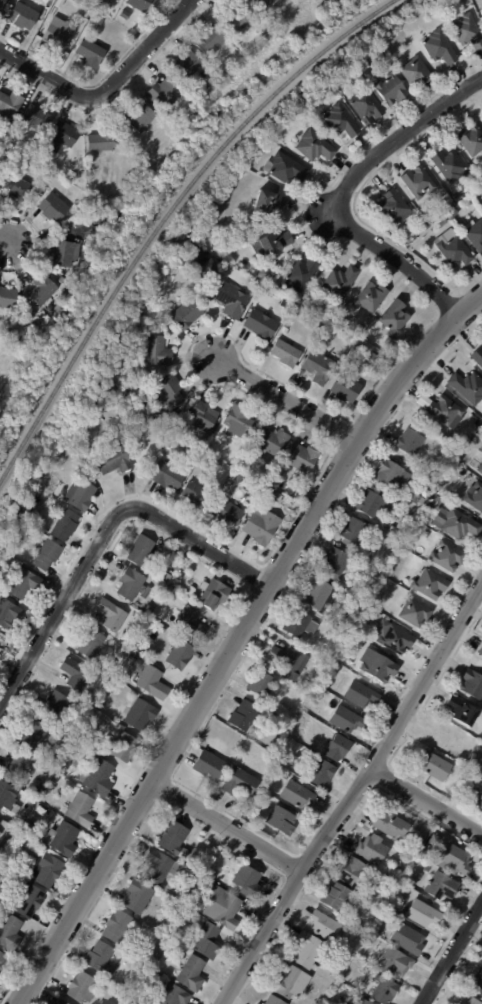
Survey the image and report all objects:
building: (93, 2)
building: (260, 3)
building: (2, 4)
building: (142, 5)
building: (124, 15)
building: (481, 15)
building: (23, 17)
building: (237, 19)
building: (97, 22)
building: (468, 32)
building: (59, 33)
building: (77, 34)
building: (210, 41)
building: (439, 48)
building: (90, 53)
building: (188, 64)
building: (416, 73)
road: (105, 87)
building: (329, 90)
building: (391, 90)
building: (164, 94)
building: (10, 104)
building: (366, 106)
building: (481, 113)
building: (140, 118)
building: (36, 119)
building: (341, 122)
building: (60, 136)
road: (395, 139)
building: (101, 141)
building: (471, 141)
building: (314, 147)
building: (3, 153)
building: (450, 166)
building: (285, 169)
building: (72, 177)
building: (37, 182)
building: (43, 182)
building: (419, 183)
building: (16, 185)
building: (457, 198)
building: (269, 203)
building: (393, 207)
building: (52, 209)
railway: (167, 215)
building: (424, 226)
building: (474, 235)
road: (6, 241)
building: (198, 243)
building: (271, 244)
building: (454, 250)
building: (65, 254)
road: (396, 258)
building: (210, 267)
building: (215, 268)
building: (264, 274)
building: (302, 275)
building: (340, 283)
building: (44, 291)
building: (8, 297)
building: (371, 298)
building: (232, 301)
building: (187, 315)
building: (394, 318)
building: (261, 326)
building: (157, 352)
building: (286, 355)
building: (478, 356)
building: (371, 357)
building: (319, 368)
building: (467, 387)
building: (346, 390)
building: (169, 393)
building: (120, 397)
road: (284, 399)
building: (445, 410)
building: (203, 417)
building: (172, 419)
building: (239, 422)
road: (330, 437)
building: (272, 441)
building: (410, 442)
building: (204, 444)
building: (231, 448)
building: (114, 458)
building: (302, 459)
building: (480, 469)
building: (167, 475)
building: (393, 475)
building: (240, 478)
building: (268, 490)
building: (195, 493)
building: (79, 495)
building: (474, 496)
building: (416, 499)
building: (437, 501)
building: (373, 502)
building: (269, 503)
building: (26, 511)
building: (227, 513)
building: (388, 522)
building: (455, 524)
building: (65, 525)
building: (261, 526)
building: (392, 529)
building: (354, 531)
road: (102, 534)
building: (427, 535)
building: (143, 551)
building: (1, 555)
building: (47, 555)
building: (448, 556)
building: (336, 562)
building: (374, 573)
building: (179, 577)
building: (166, 578)
building: (23, 583)
building: (131, 583)
building: (430, 584)
building: (190, 591)
building: (317, 593)
building: (213, 594)
building: (141, 599)
building: (353, 602)
building: (415, 612)
building: (8, 613)
building: (111, 614)
building: (190, 622)
building: (300, 624)
building: (357, 624)
building: (162, 630)
building: (394, 637)
road: (236, 639)
building: (2, 641)
building: (91, 643)
building: (480, 651)
building: (179, 654)
building: (133, 656)
building: (289, 659)
building: (378, 666)
building: (111, 667)
building: (481, 669)
building: (76, 674)
building: (153, 683)
building: (261, 684)
building: (472, 684)
building: (309, 688)
building: (361, 695)
building: (58, 706)
building: (463, 712)
building: (140, 715)
building: (243, 716)
building: (347, 720)
building: (35, 737)
building: (124, 747)
building: (338, 748)
building: (209, 765)
building: (435, 766)
building: (19, 767)
building: (322, 774)
building: (285, 776)
building: (98, 778)
building: (239, 783)
building: (297, 795)
road: (351, 796)
building: (9, 798)
road: (427, 798)
building: (479, 800)
building: (41, 811)
building: (80, 811)
building: (282, 820)
building: (390, 825)
road: (227, 826)
building: (0, 834)
building: (14, 834)
building: (62, 839)
building: (174, 840)
building: (434, 841)
building: (372, 850)
building: (427, 851)
building: (454, 860)
building: (400, 866)
building: (157, 867)
building: (426, 869)
building: (48, 871)
building: (351, 871)
building: (247, 881)
building: (441, 887)
building: (363, 892)
building: (138, 897)
building: (336, 897)
building: (30, 902)
building: (222, 907)
building: (422, 913)
building: (325, 925)
building: (117, 927)
building: (396, 927)
building: (9, 933)
building: (361, 934)
building: (207, 941)
building: (411, 941)
building: (307, 950)
road: (453, 954)
building: (100, 959)
building: (2, 961)
building: (395, 963)
building: (481, 963)
building: (191, 975)
building: (290, 983)
building: (477, 984)
building: (81, 988)
building: (121, 988)
building: (384, 991)
building: (174, 995)
building: (344, 1000)
building: (469, 1000)
building: (274, 1001)
building: (60, 1002)
building: (363, 1002)
building: (255, 1003)

